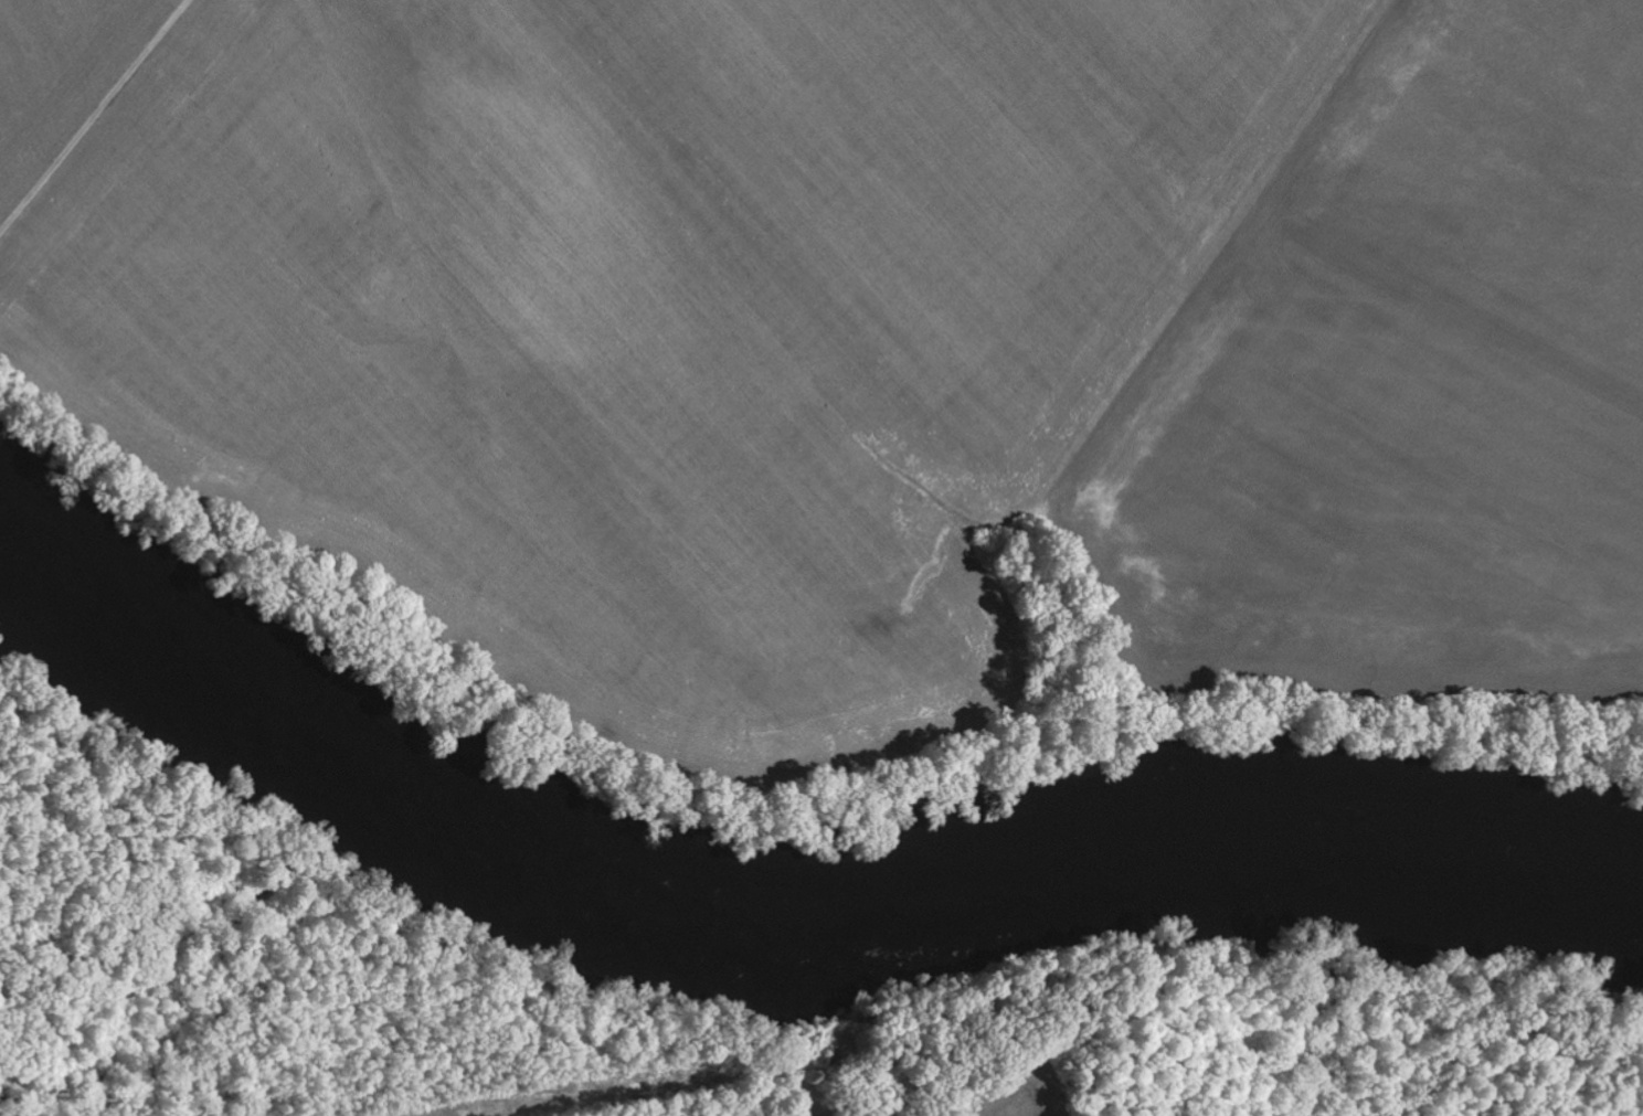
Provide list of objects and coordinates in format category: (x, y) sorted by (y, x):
road: (93, 116)
river: (781, 902)

